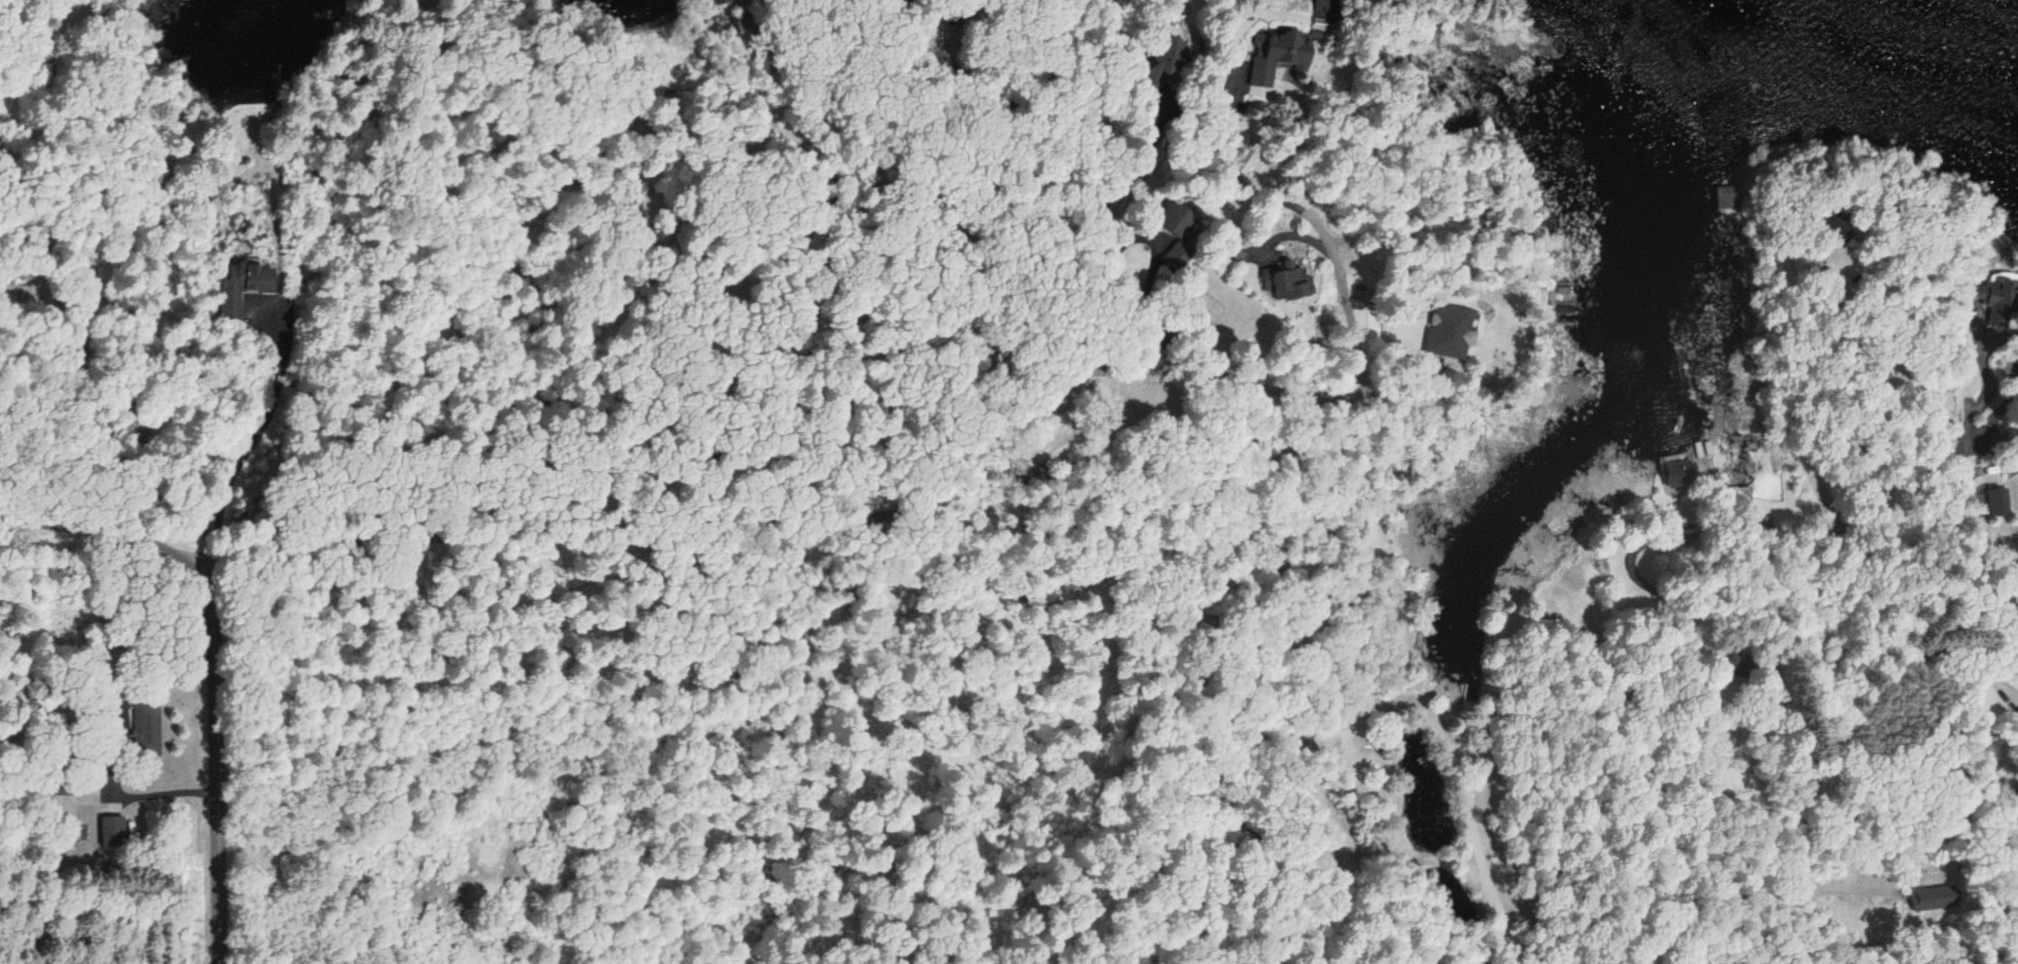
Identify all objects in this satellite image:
building: (718, 2)
building: (1324, 10)
building: (1278, 55)
building: (1163, 60)
building: (1726, 198)
building: (1836, 229)
building: (1174, 236)
building: (1287, 281)
building: (241, 287)
building: (1205, 305)
road: (1951, 307)
building: (1996, 316)
road: (953, 463)
building: (1679, 470)
road: (1963, 477)
road: (1992, 480)
building: (1998, 503)
road: (100, 536)
road: (1907, 649)
building: (145, 729)
road: (211, 767)
road: (1823, 768)
building: (111, 831)
road: (1482, 870)

